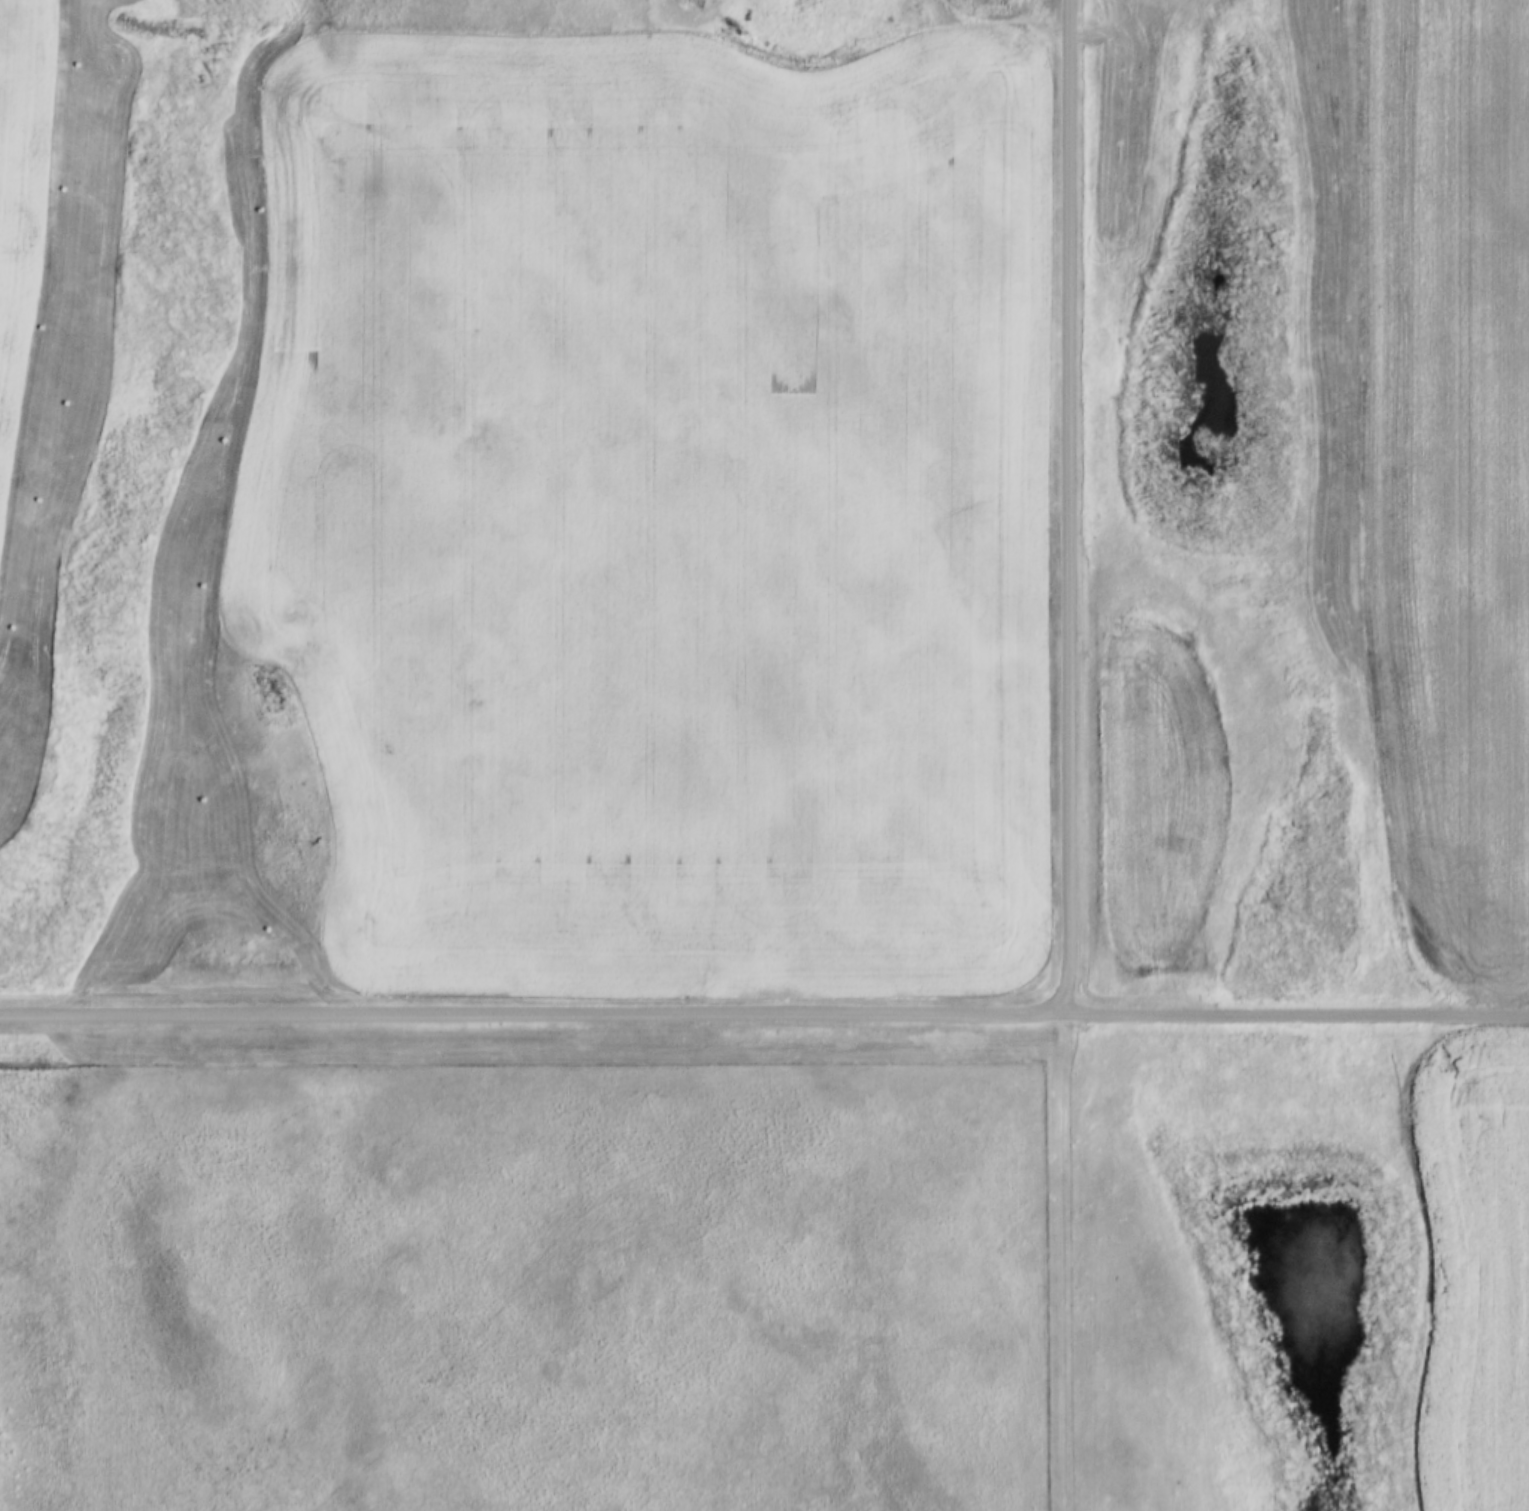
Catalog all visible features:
road: (1064, 506)
road: (531, 1012)
road: (1296, 1012)
road: (1063, 1261)

